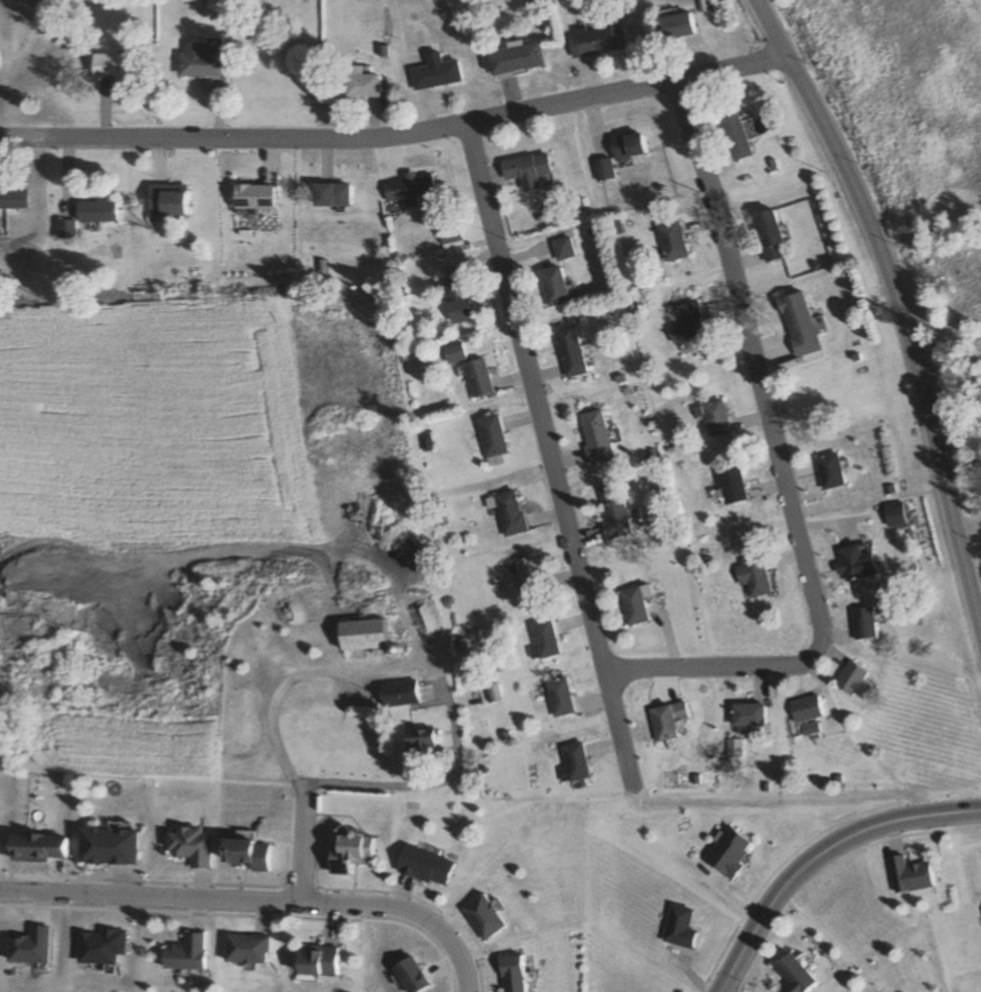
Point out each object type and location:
building: (676, 26)
building: (601, 38)
building: (514, 59)
building: (199, 62)
building: (110, 66)
building: (435, 73)
building: (360, 84)
road: (396, 135)
building: (735, 135)
building: (628, 146)
building: (527, 170)
building: (603, 170)
building: (407, 190)
building: (331, 195)
building: (253, 197)
building: (15, 199)
building: (166, 201)
building: (88, 219)
building: (448, 232)
building: (769, 236)
building: (672, 242)
building: (564, 249)
building: (554, 287)
building: (457, 303)
road: (898, 308)
building: (797, 317)
building: (690, 325)
building: (570, 351)
building: (454, 353)
building: (477, 378)
building: (715, 419)
crop: (150, 424)
building: (596, 437)
building: (490, 439)
road: (547, 451)
building: (830, 471)
road: (779, 472)
building: (732, 485)
building: (509, 514)
building: (615, 514)
building: (895, 515)
road: (967, 527)
building: (856, 564)
building: (527, 577)
building: (752, 577)
building: (634, 606)
building: (865, 624)
building: (363, 635)
building: (542, 641)
road: (425, 665)
building: (854, 681)
building: (398, 694)
building: (558, 698)
building: (807, 709)
building: (748, 715)
building: (670, 721)
building: (420, 740)
building: (573, 763)
road: (296, 843)
building: (190, 847)
building: (108, 848)
building: (38, 849)
building: (350, 852)
building: (246, 854)
road: (826, 865)
building: (424, 867)
building: (910, 877)
road: (259, 899)
building: (483, 918)
building: (678, 928)
building: (245, 949)
building: (184, 954)
building: (315, 961)
building: (512, 974)
building: (794, 976)

